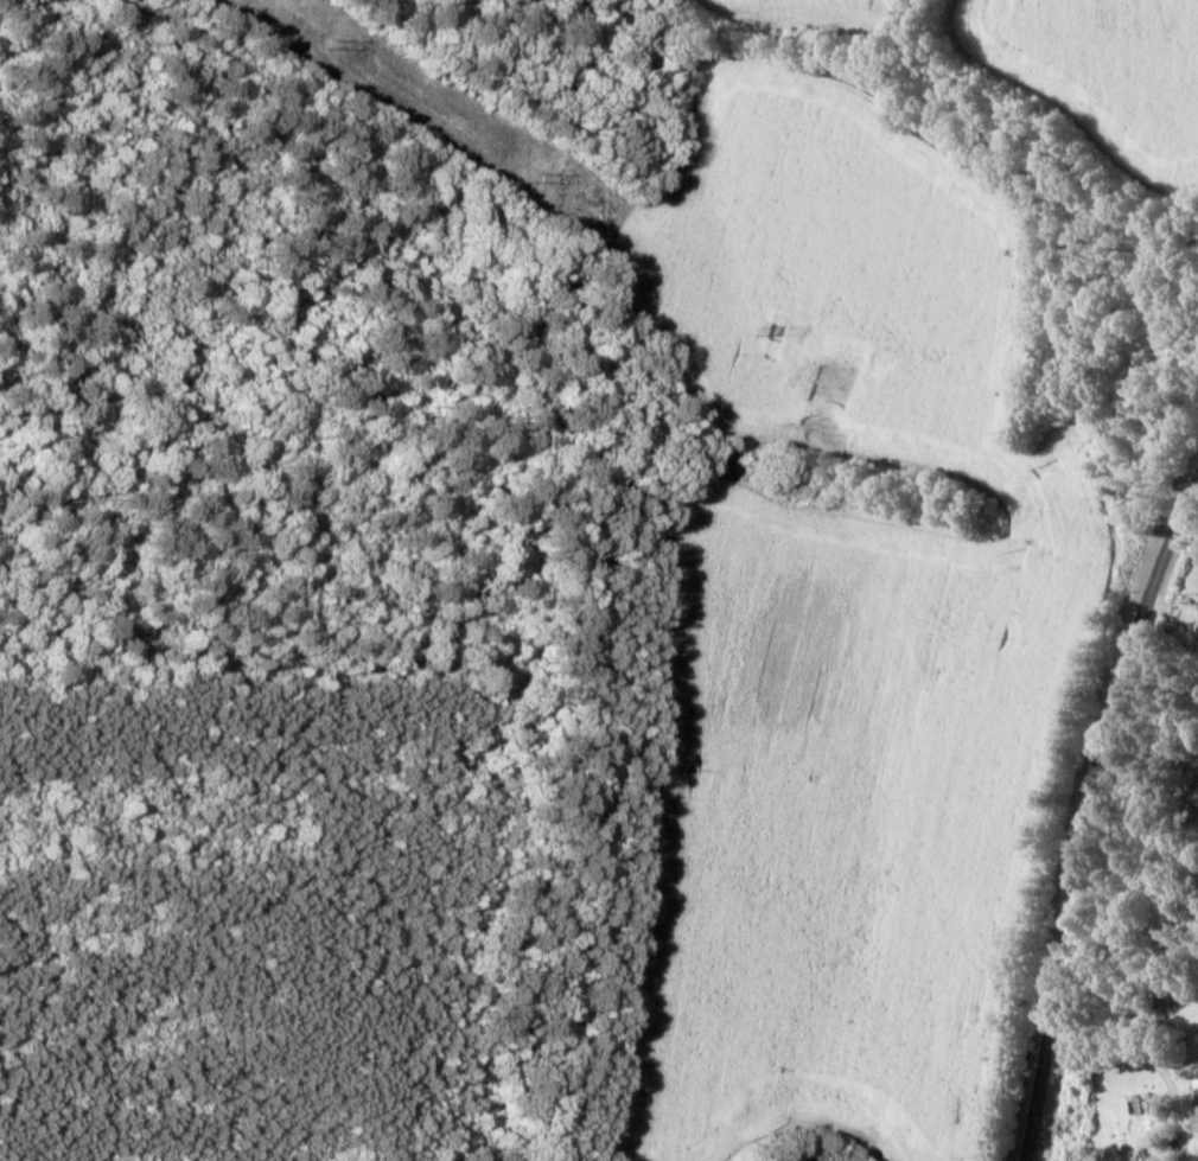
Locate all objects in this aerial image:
road: (1116, 897)

